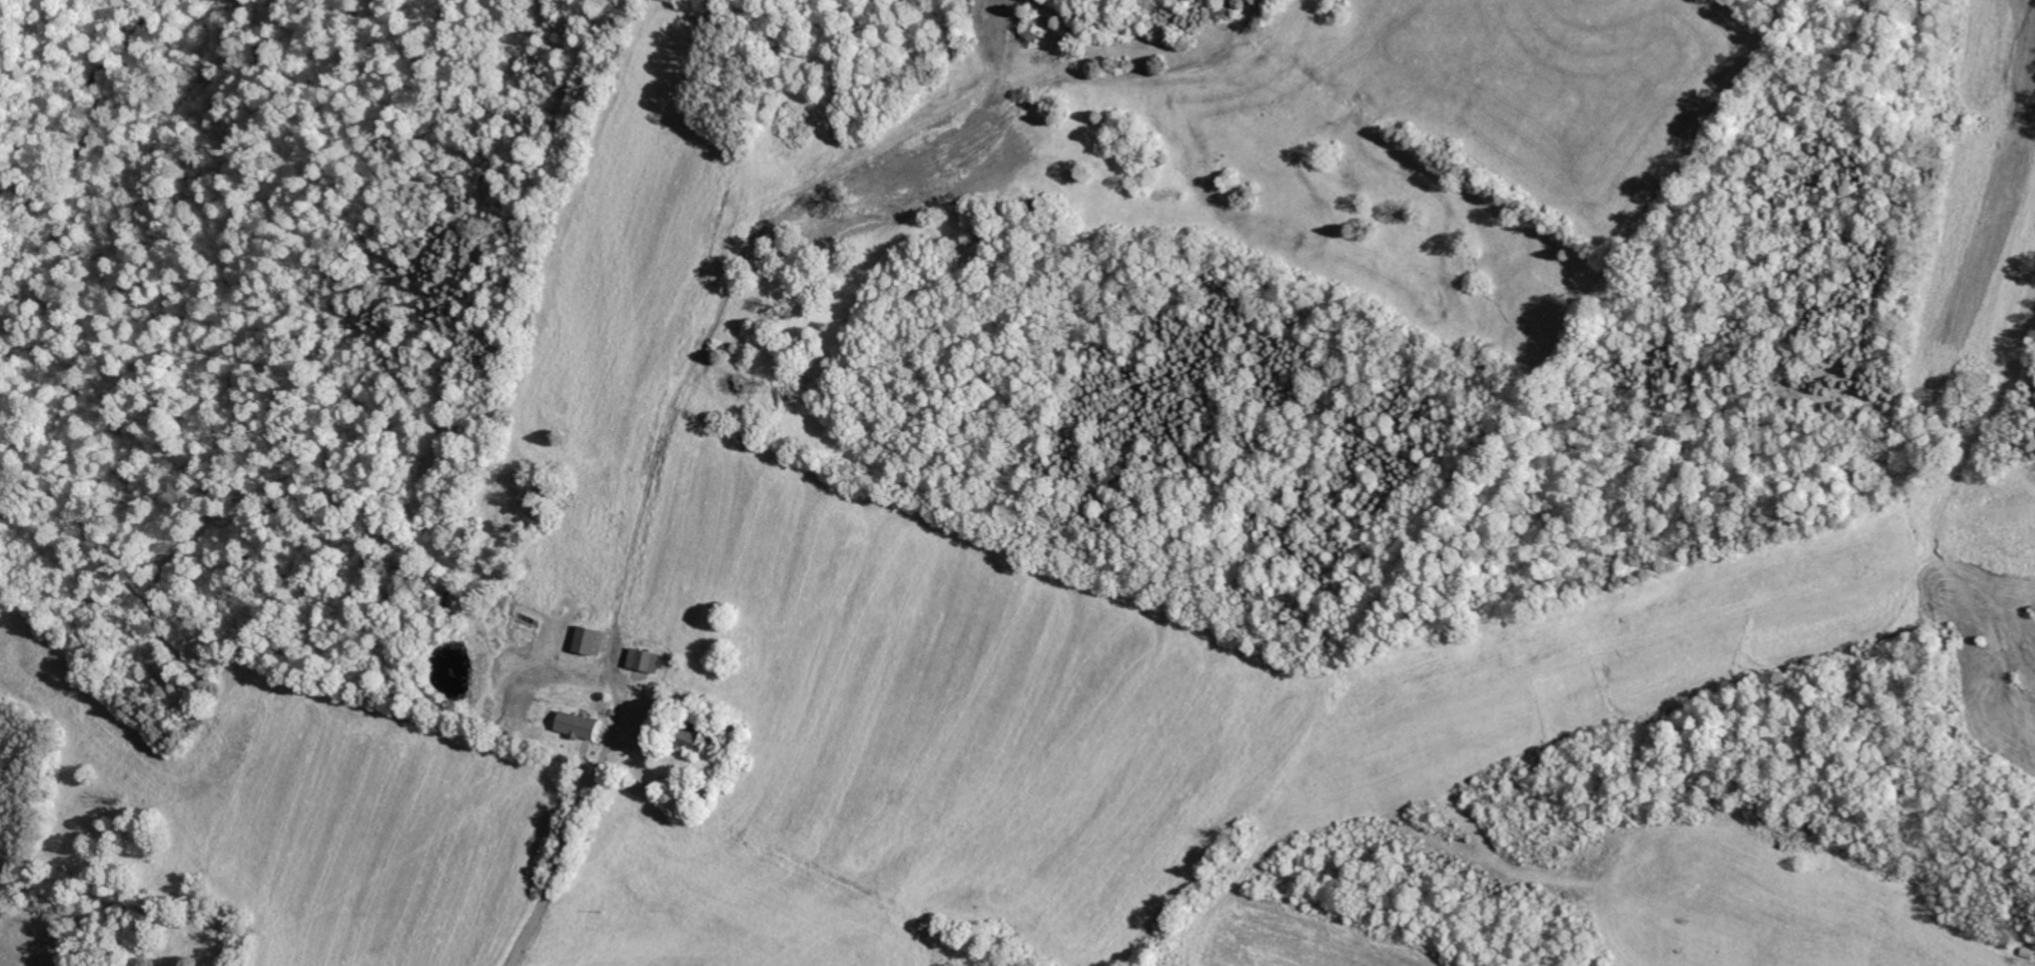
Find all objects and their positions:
building: (583, 640)
building: (641, 659)
building: (573, 725)
building: (685, 732)
road: (552, 877)

